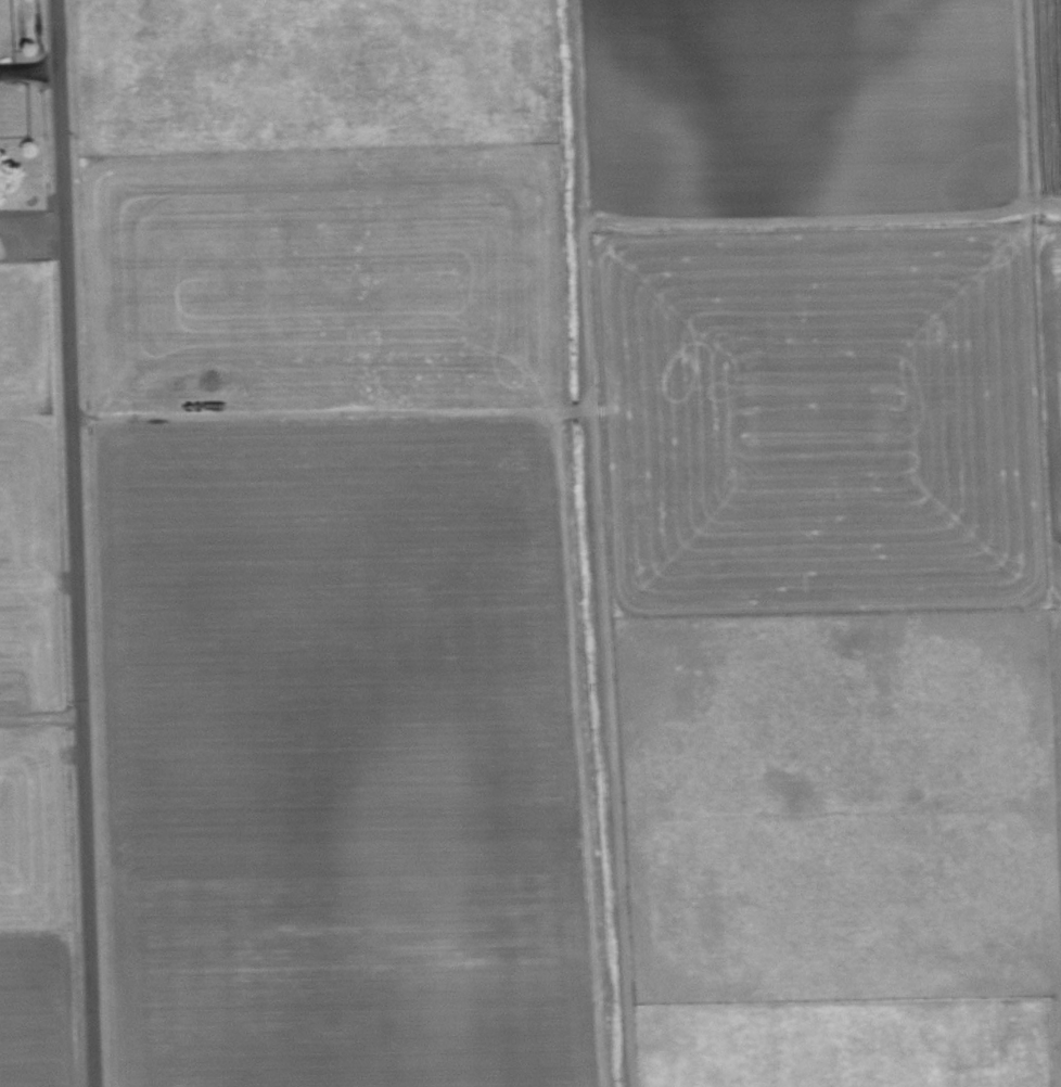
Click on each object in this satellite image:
road: (30, 67)
road: (76, 542)
road: (41, 717)

